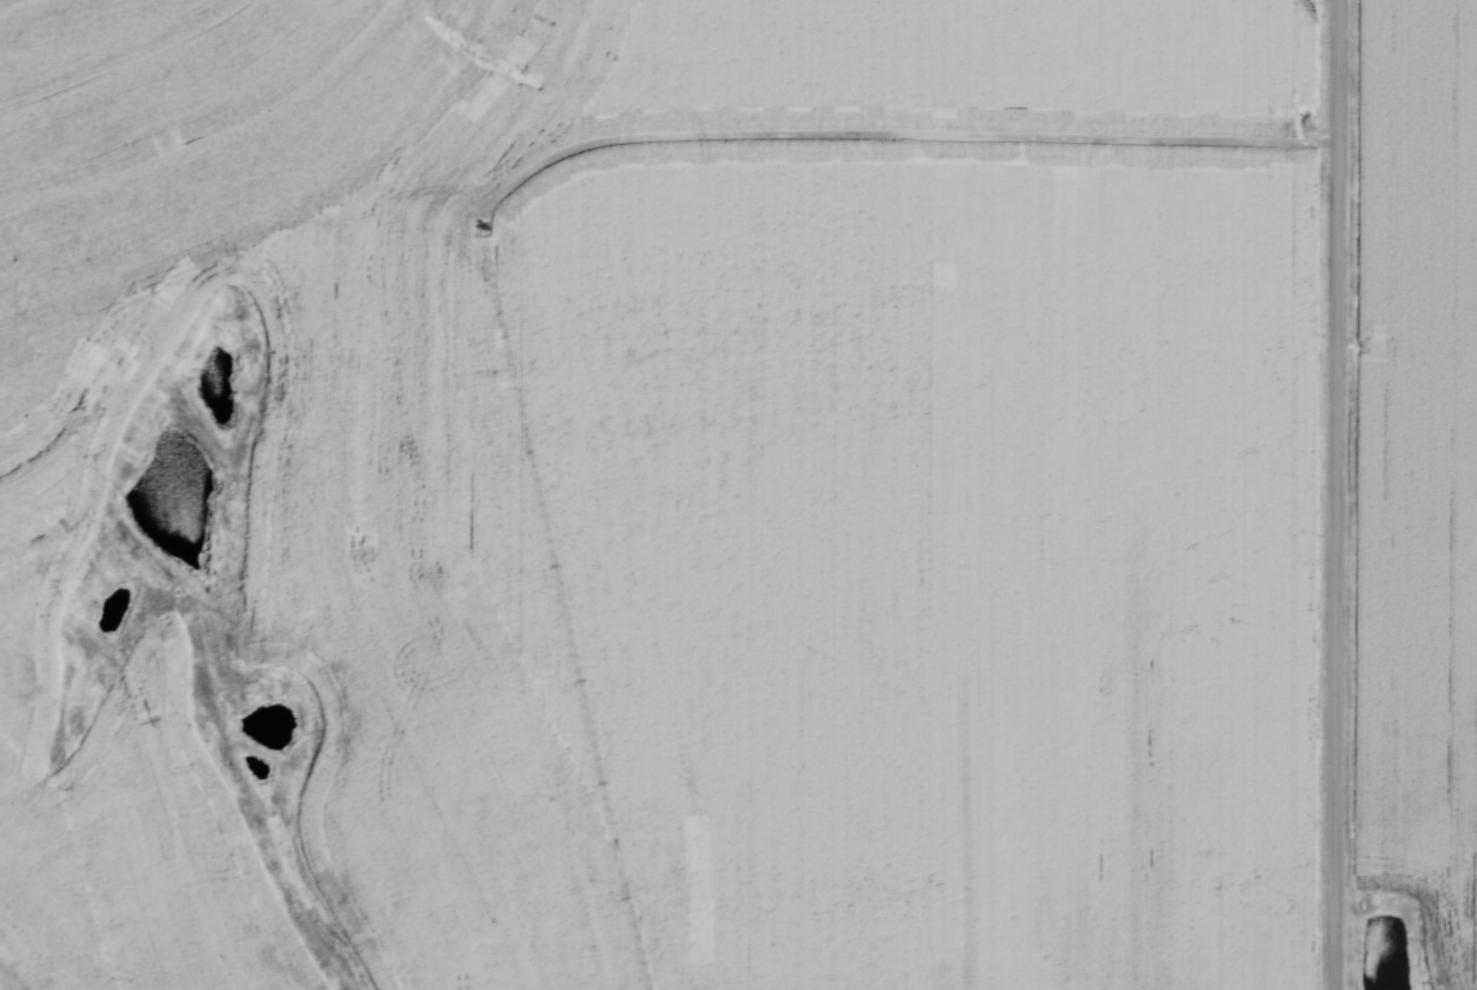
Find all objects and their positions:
road: (1335, 494)

